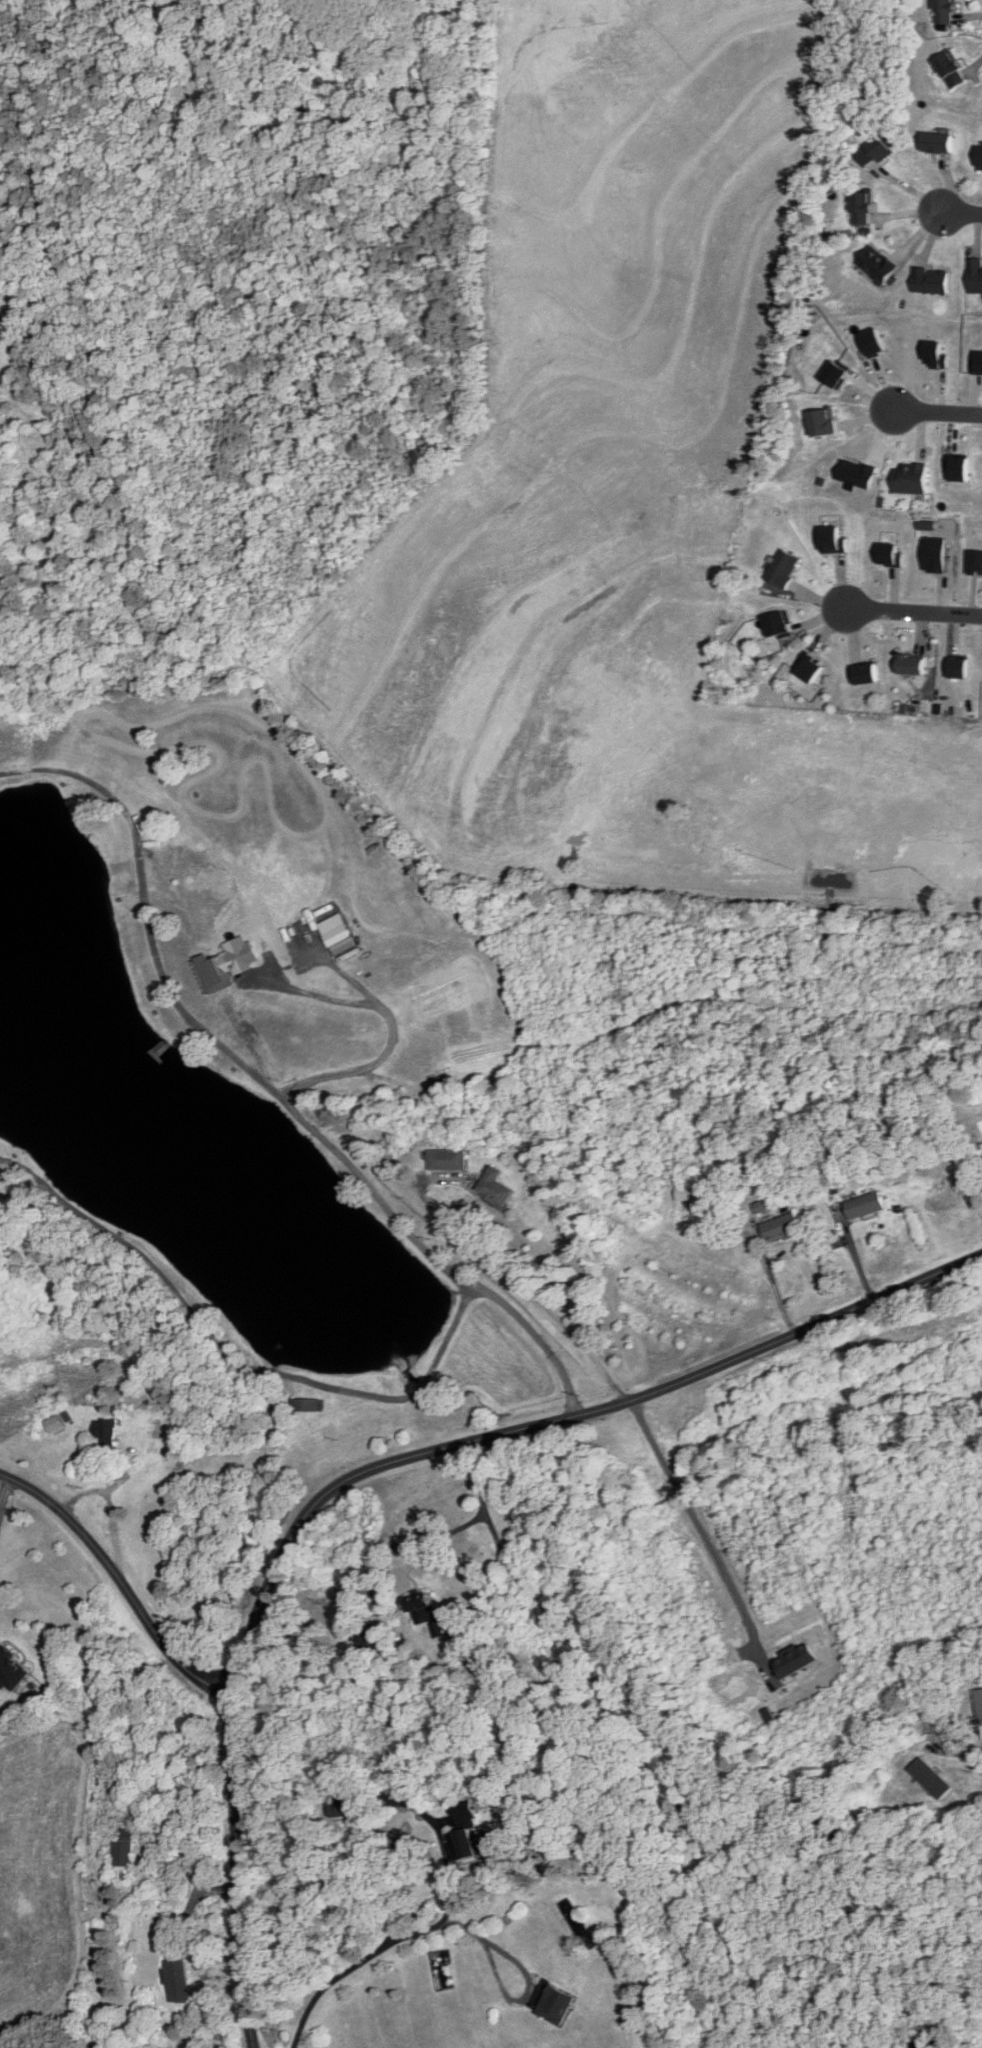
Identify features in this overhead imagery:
building: (946, 11)
building: (952, 71)
building: (940, 143)
building: (879, 150)
building: (980, 159)
building: (863, 207)
road: (961, 214)
building: (878, 265)
building: (976, 276)
building: (932, 281)
road: (936, 413)
building: (825, 424)
building: (911, 479)
road: (911, 610)
building: (219, 972)
road: (299, 1118)
building: (448, 1161)
building: (495, 1189)
building: (691, 1194)
building: (866, 1207)
building: (763, 1208)
building: (837, 1210)
building: (782, 1228)
road: (770, 1276)
road: (525, 1286)
building: (55, 1424)
building: (106, 1433)
road: (380, 1465)
road: (2, 1483)
road: (692, 1535)
road: (414, 1552)
road: (117, 1587)
building: (422, 1609)
building: (436, 1630)
building: (371, 1639)
building: (11, 1671)
building: (977, 1710)
building: (935, 1782)
building: (357, 1800)
building: (473, 1844)
building: (123, 1848)
road: (378, 1948)
road: (517, 1977)
building: (176, 1980)

